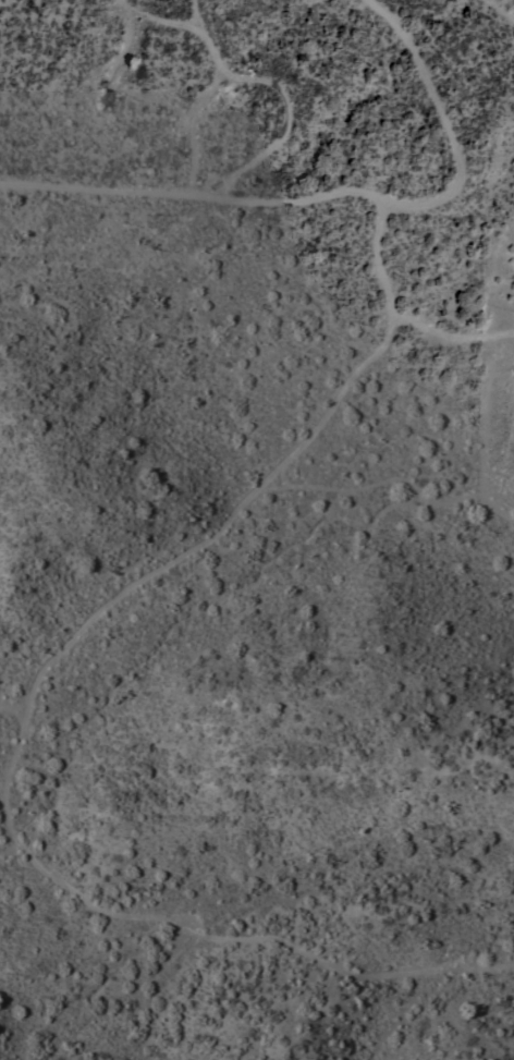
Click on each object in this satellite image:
crop: (127, 102)

